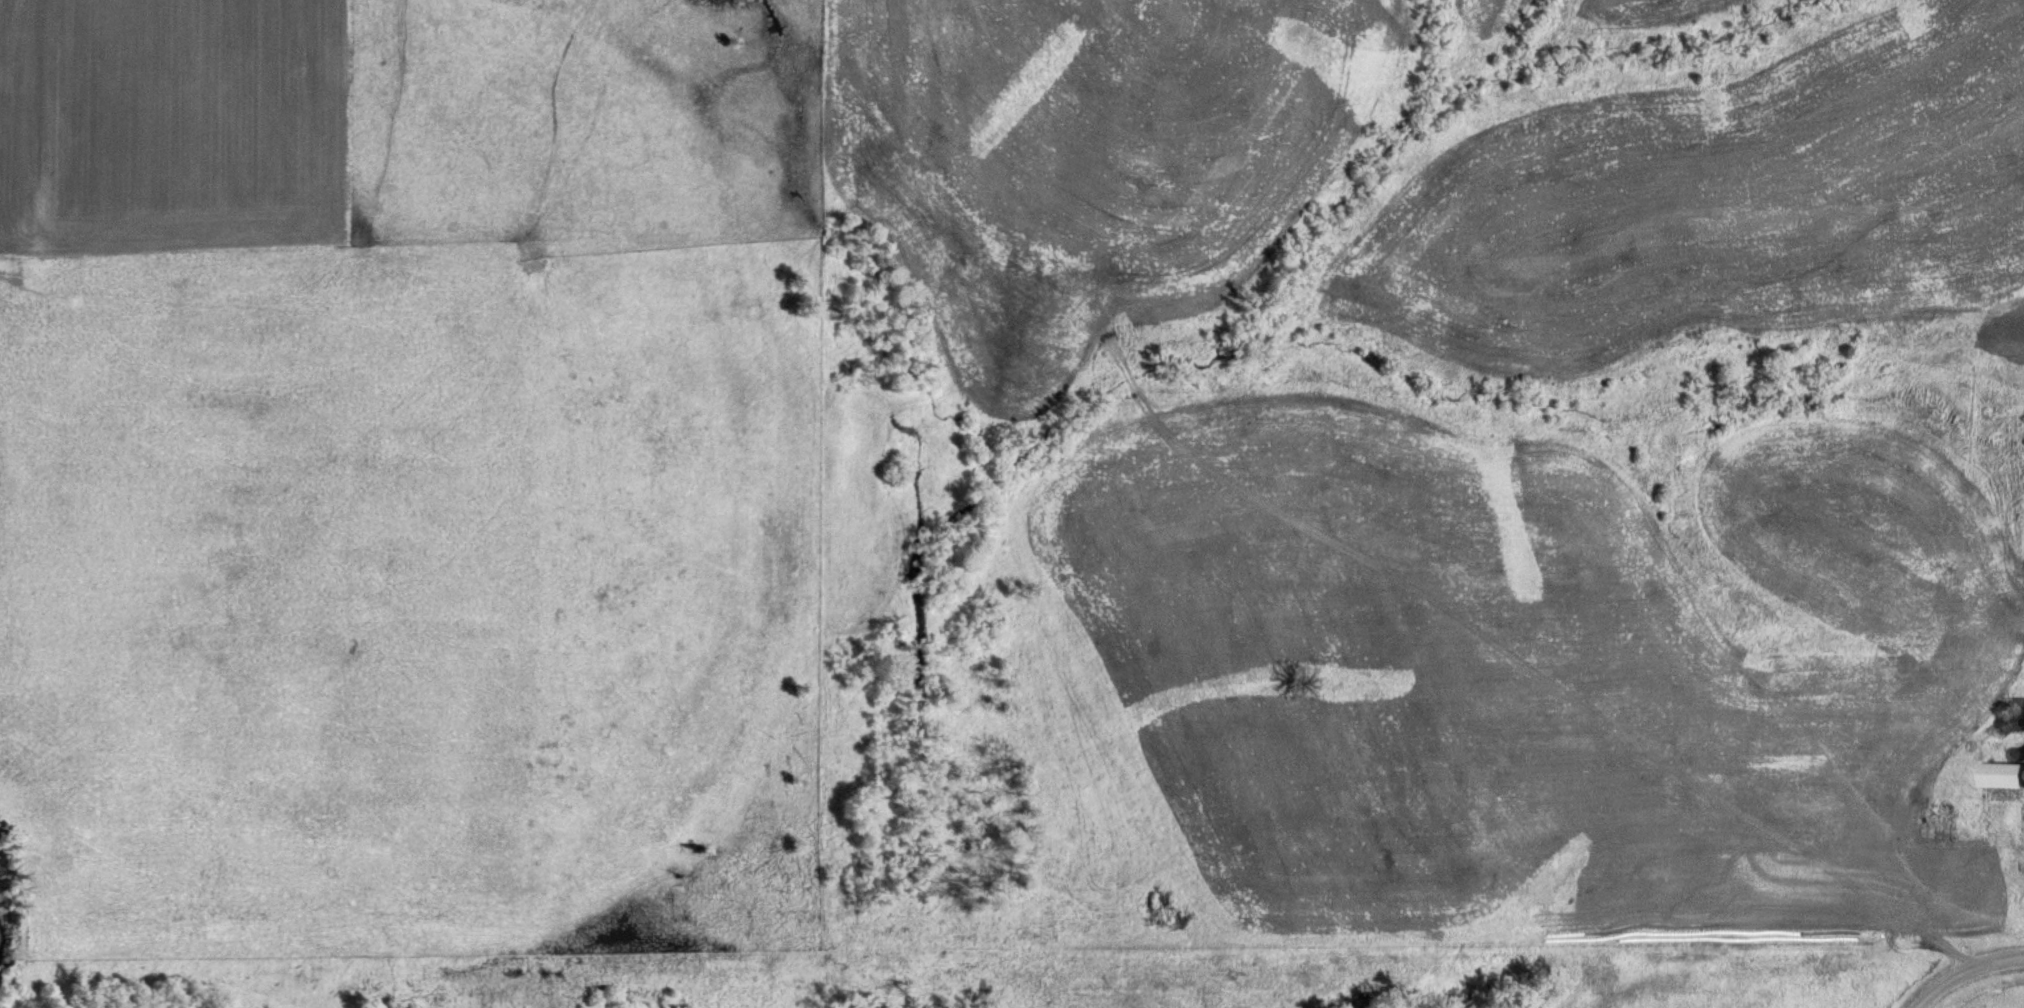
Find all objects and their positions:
road: (1964, 970)

